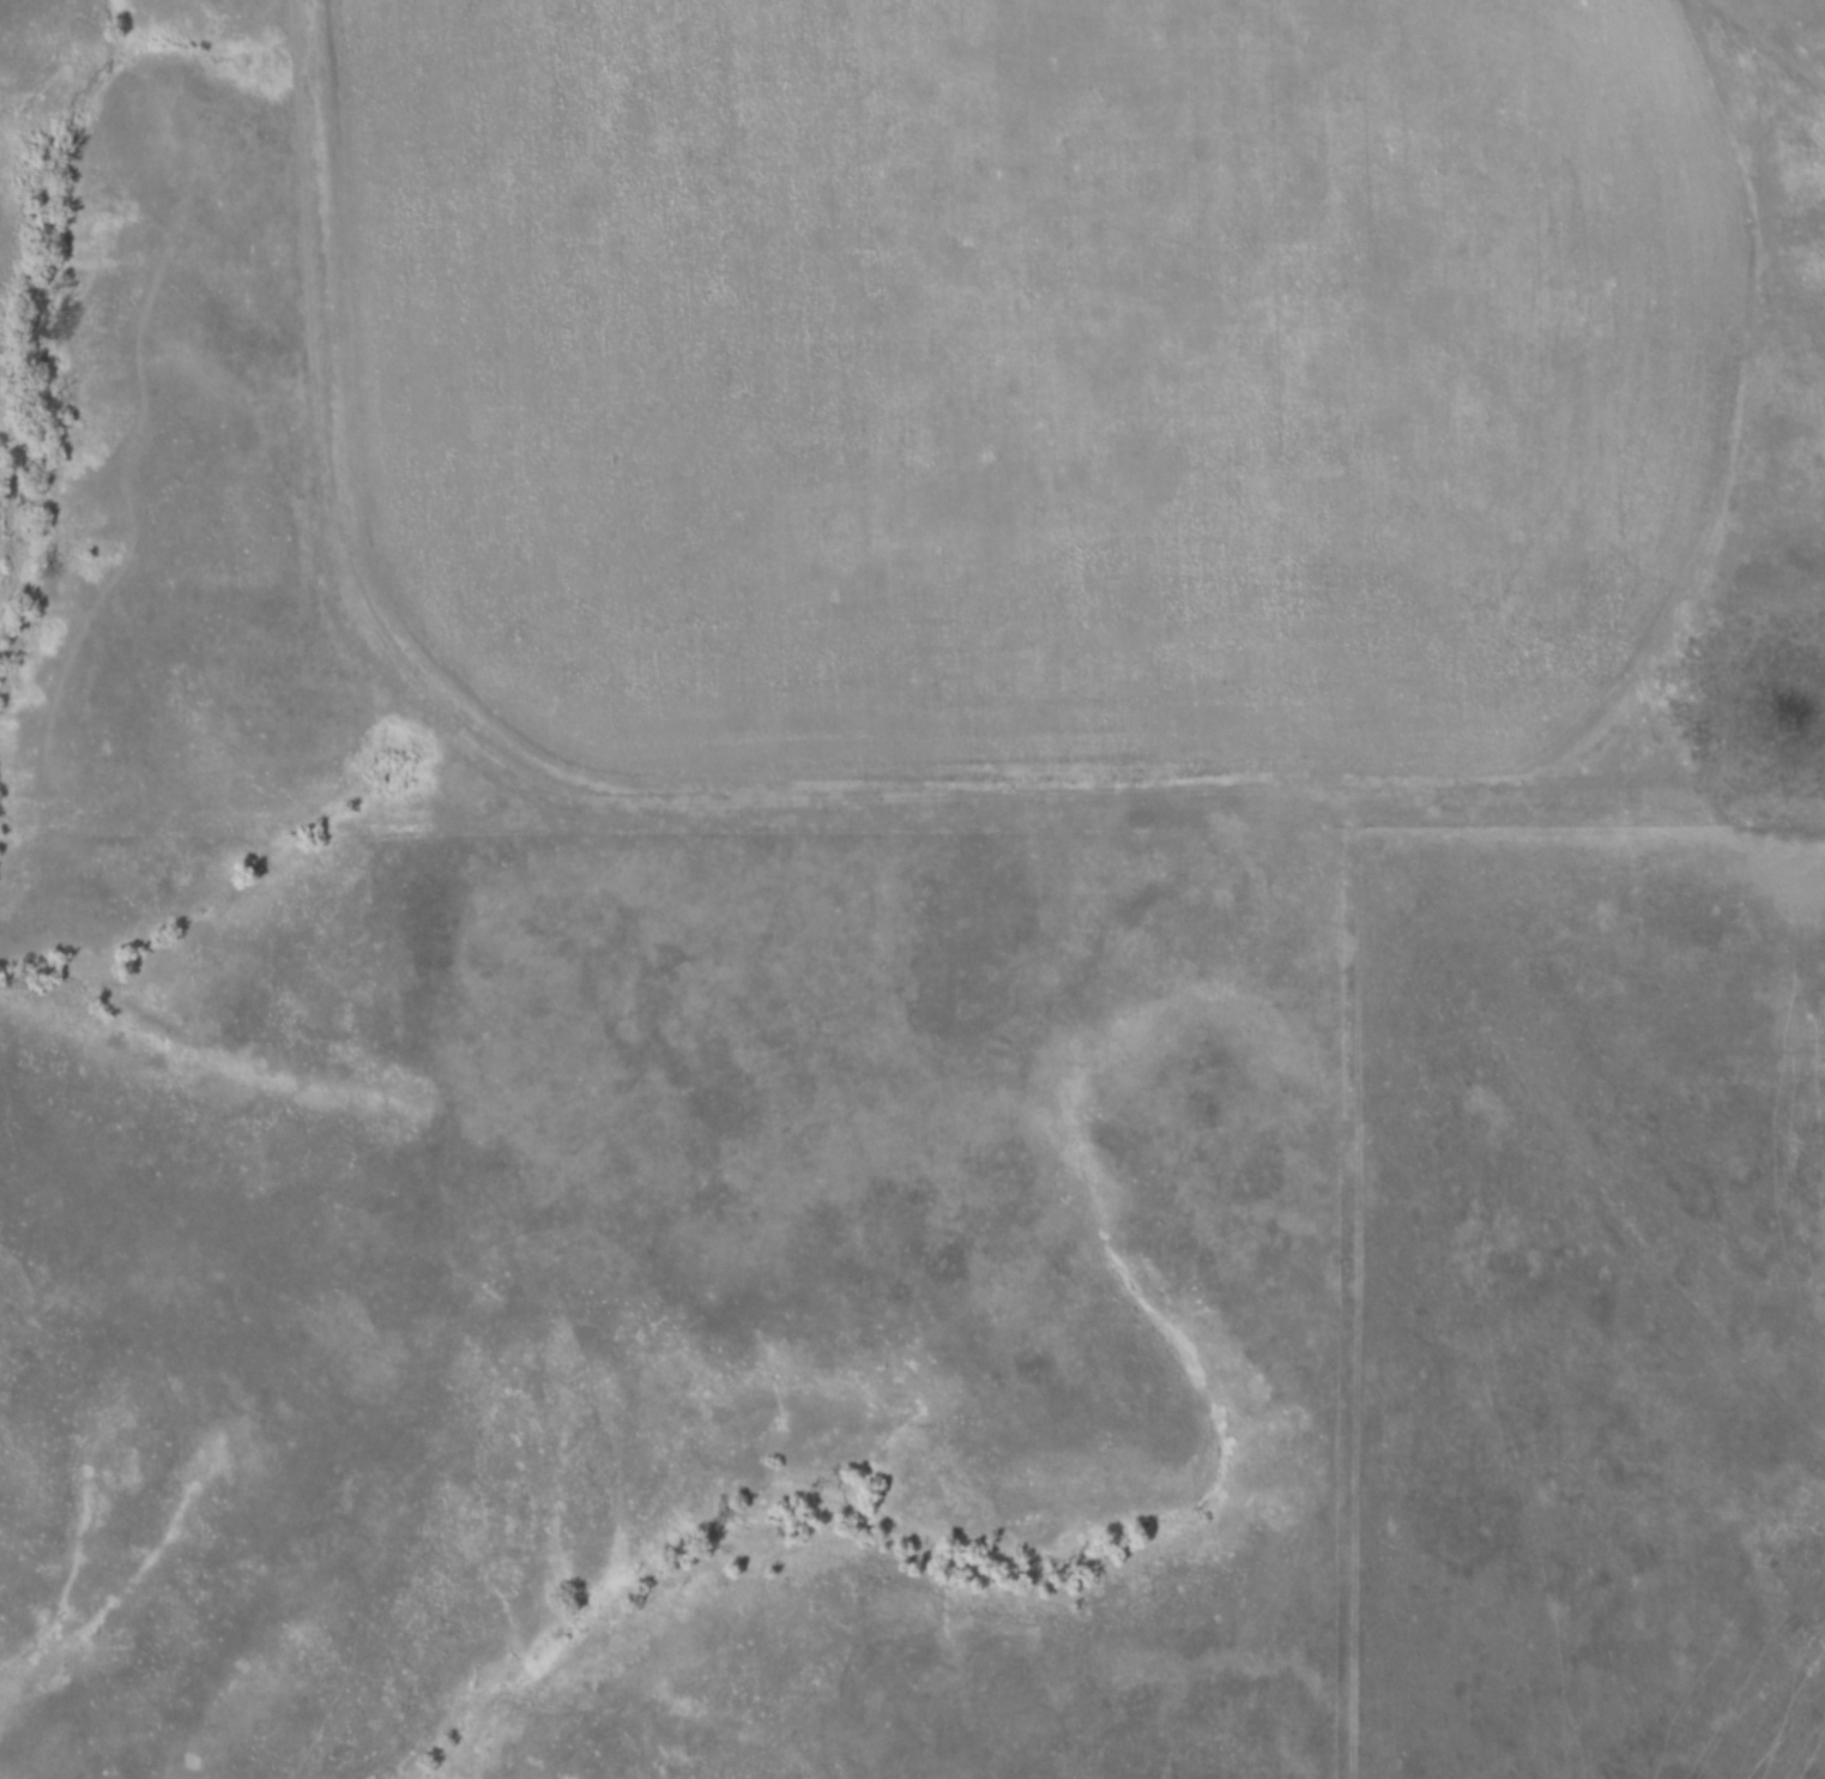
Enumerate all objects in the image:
road: (1781, 36)
crop: (1038, 379)

